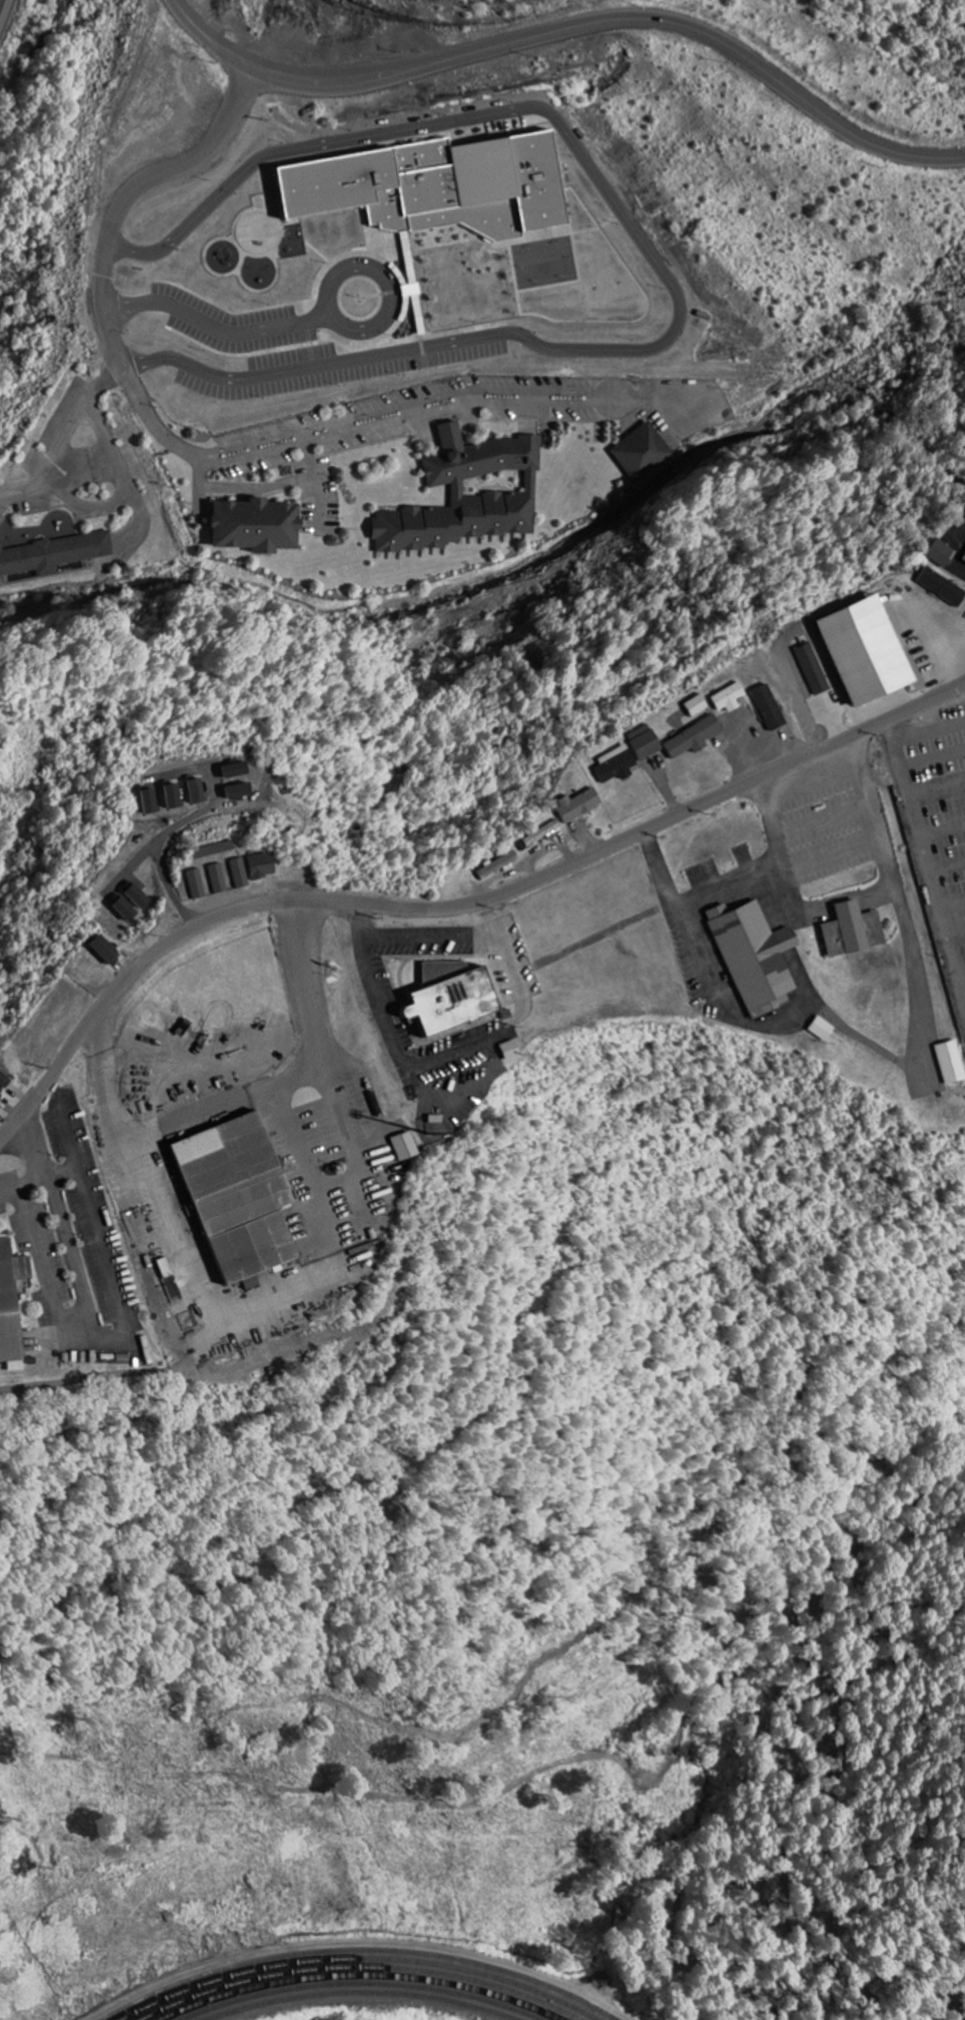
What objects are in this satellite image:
road: (574, 28)
building: (438, 189)
building: (635, 448)
building: (468, 497)
building: (254, 527)
building: (940, 554)
building: (54, 555)
building: (964, 560)
building: (942, 587)
building: (729, 698)
building: (696, 706)
building: (768, 708)
building: (708, 728)
building: (644, 743)
building: (615, 764)
building: (195, 791)
building: (172, 796)
building: (148, 801)
building: (578, 805)
building: (541, 834)
building: (211, 850)
building: (261, 866)
building: (498, 866)
building: (239, 874)
building: (218, 879)
building: (196, 885)
building: (137, 896)
building: (124, 909)
road: (456, 915)
building: (845, 931)
building: (103, 950)
building: (754, 959)
building: (450, 997)
building: (510, 1051)
building: (951, 1063)
building: (3, 1082)
building: (404, 1147)
building: (12, 1265)
building: (12, 1356)
railway: (362, 1985)
railway: (363, 1994)

